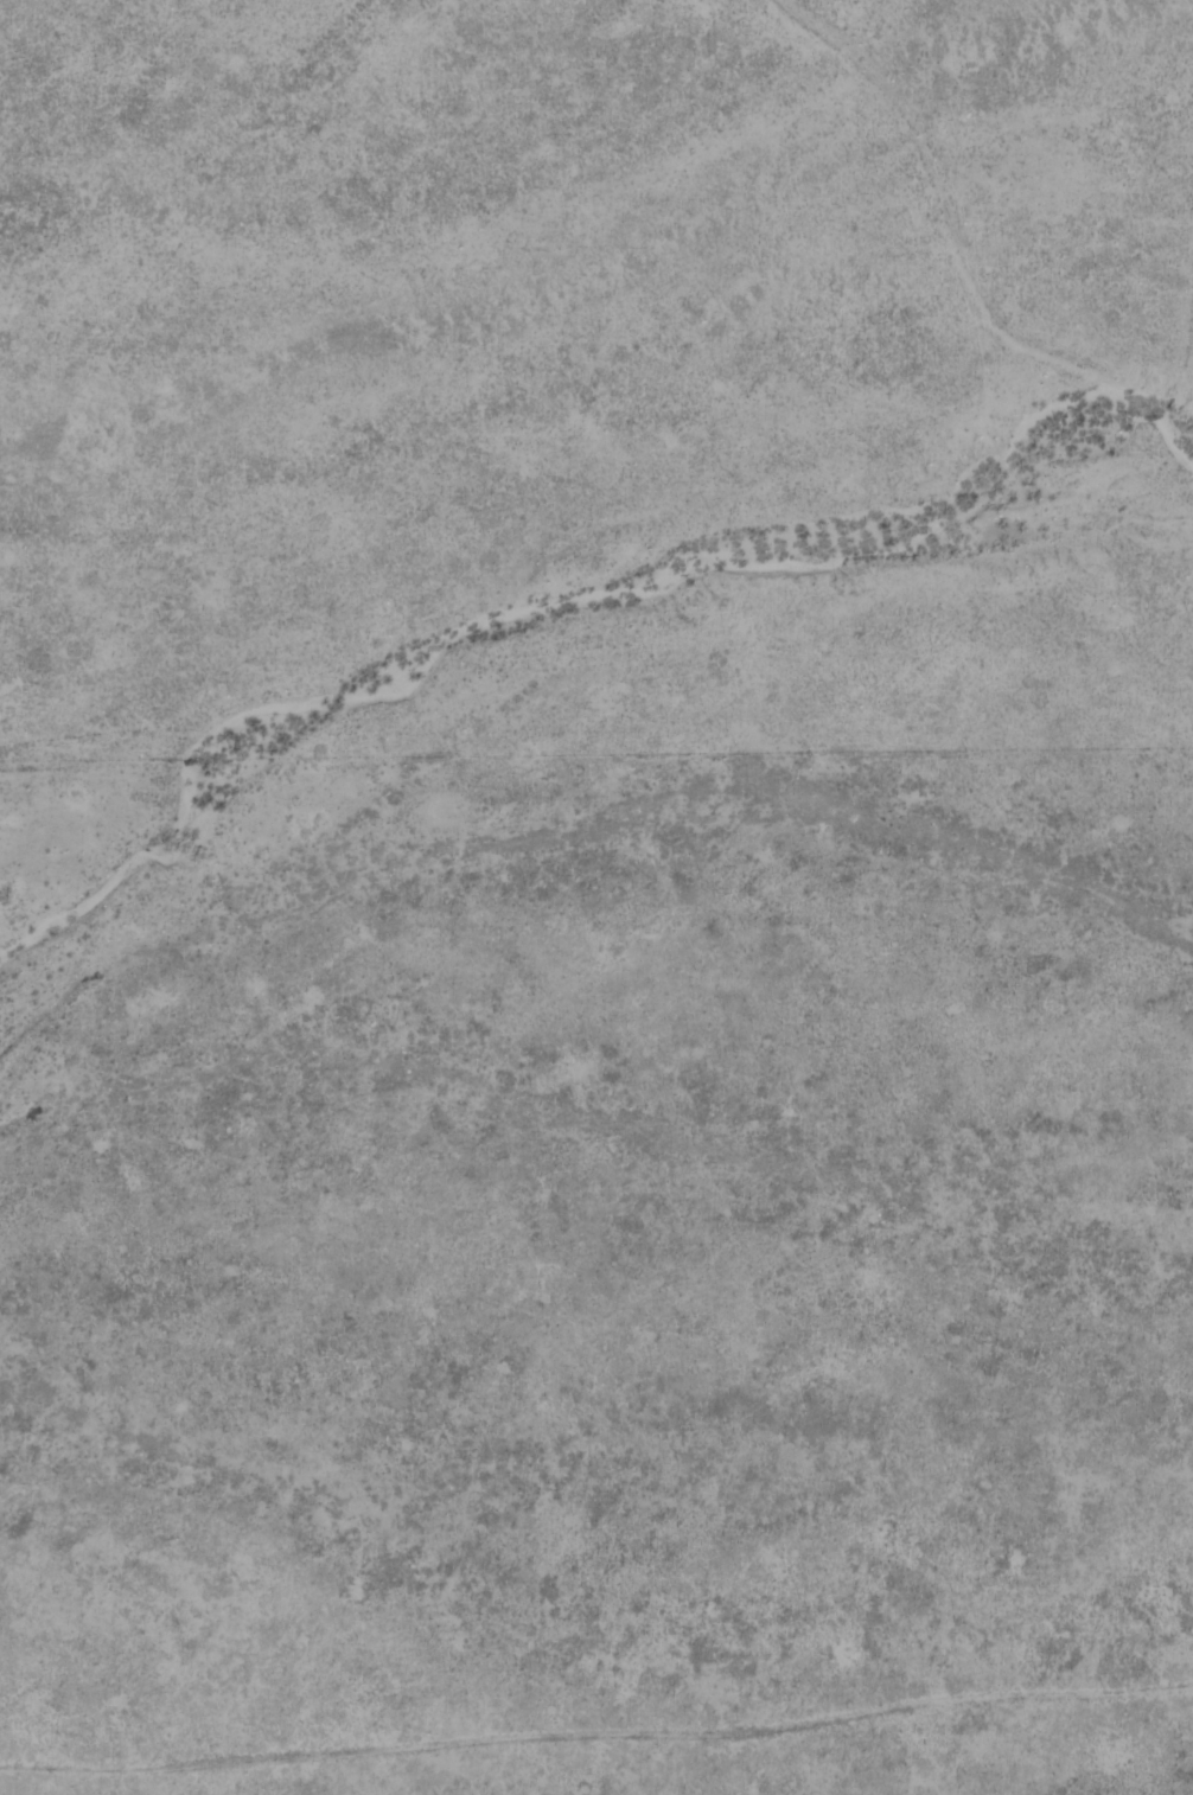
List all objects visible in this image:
road: (599, 1723)

